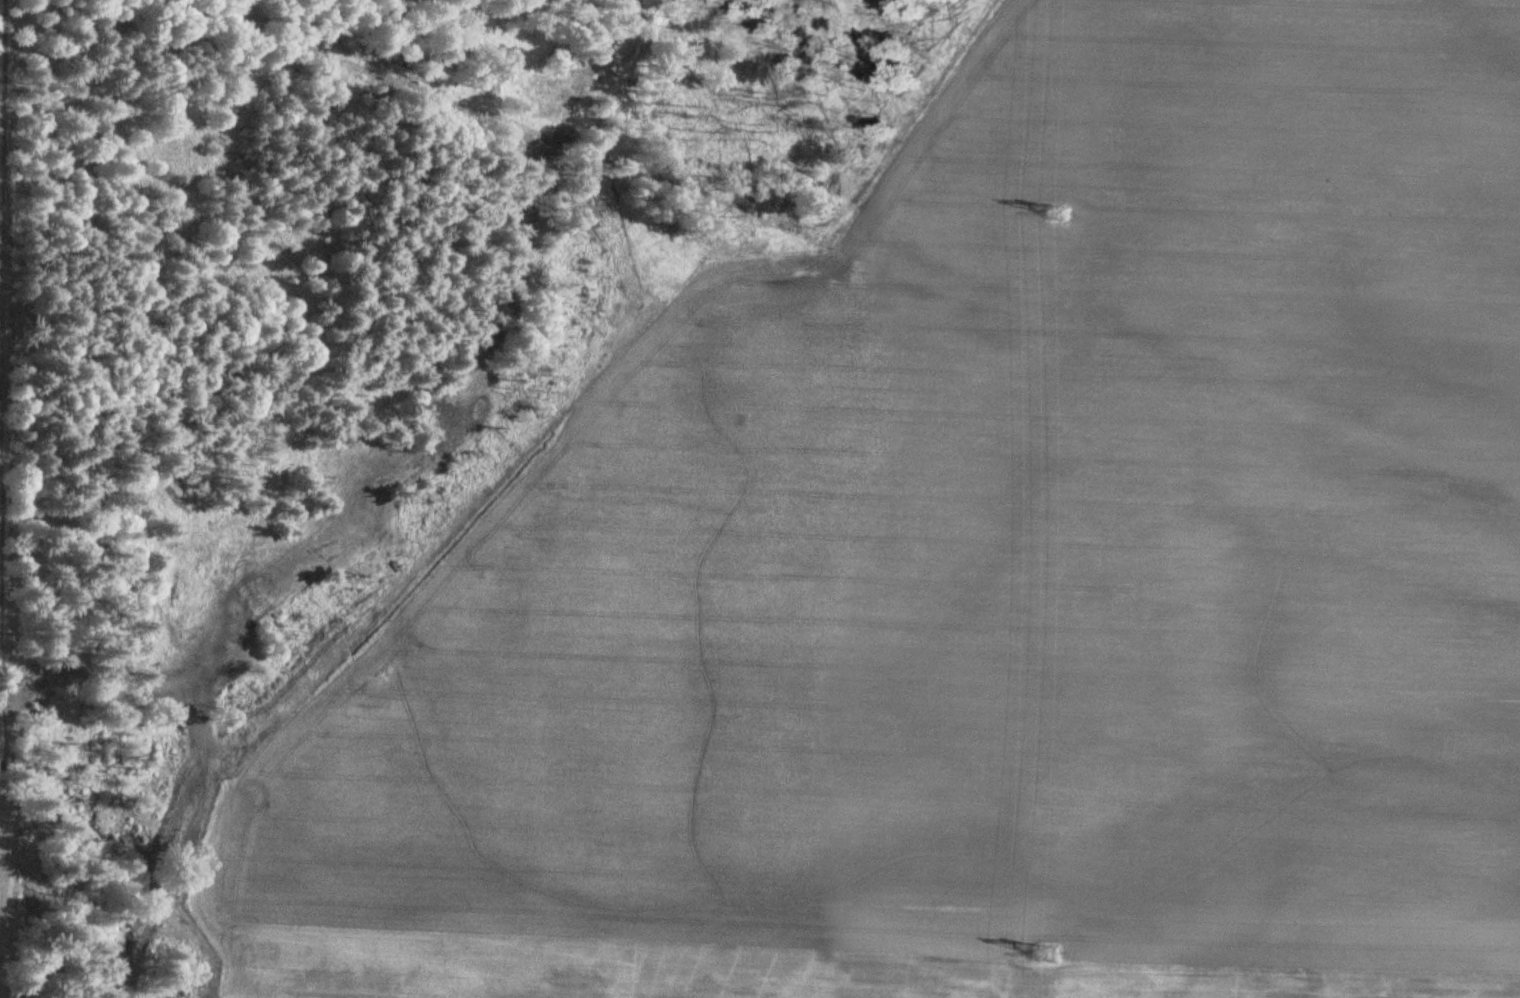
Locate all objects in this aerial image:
power tower: (1061, 213)
power tower: (1052, 955)

